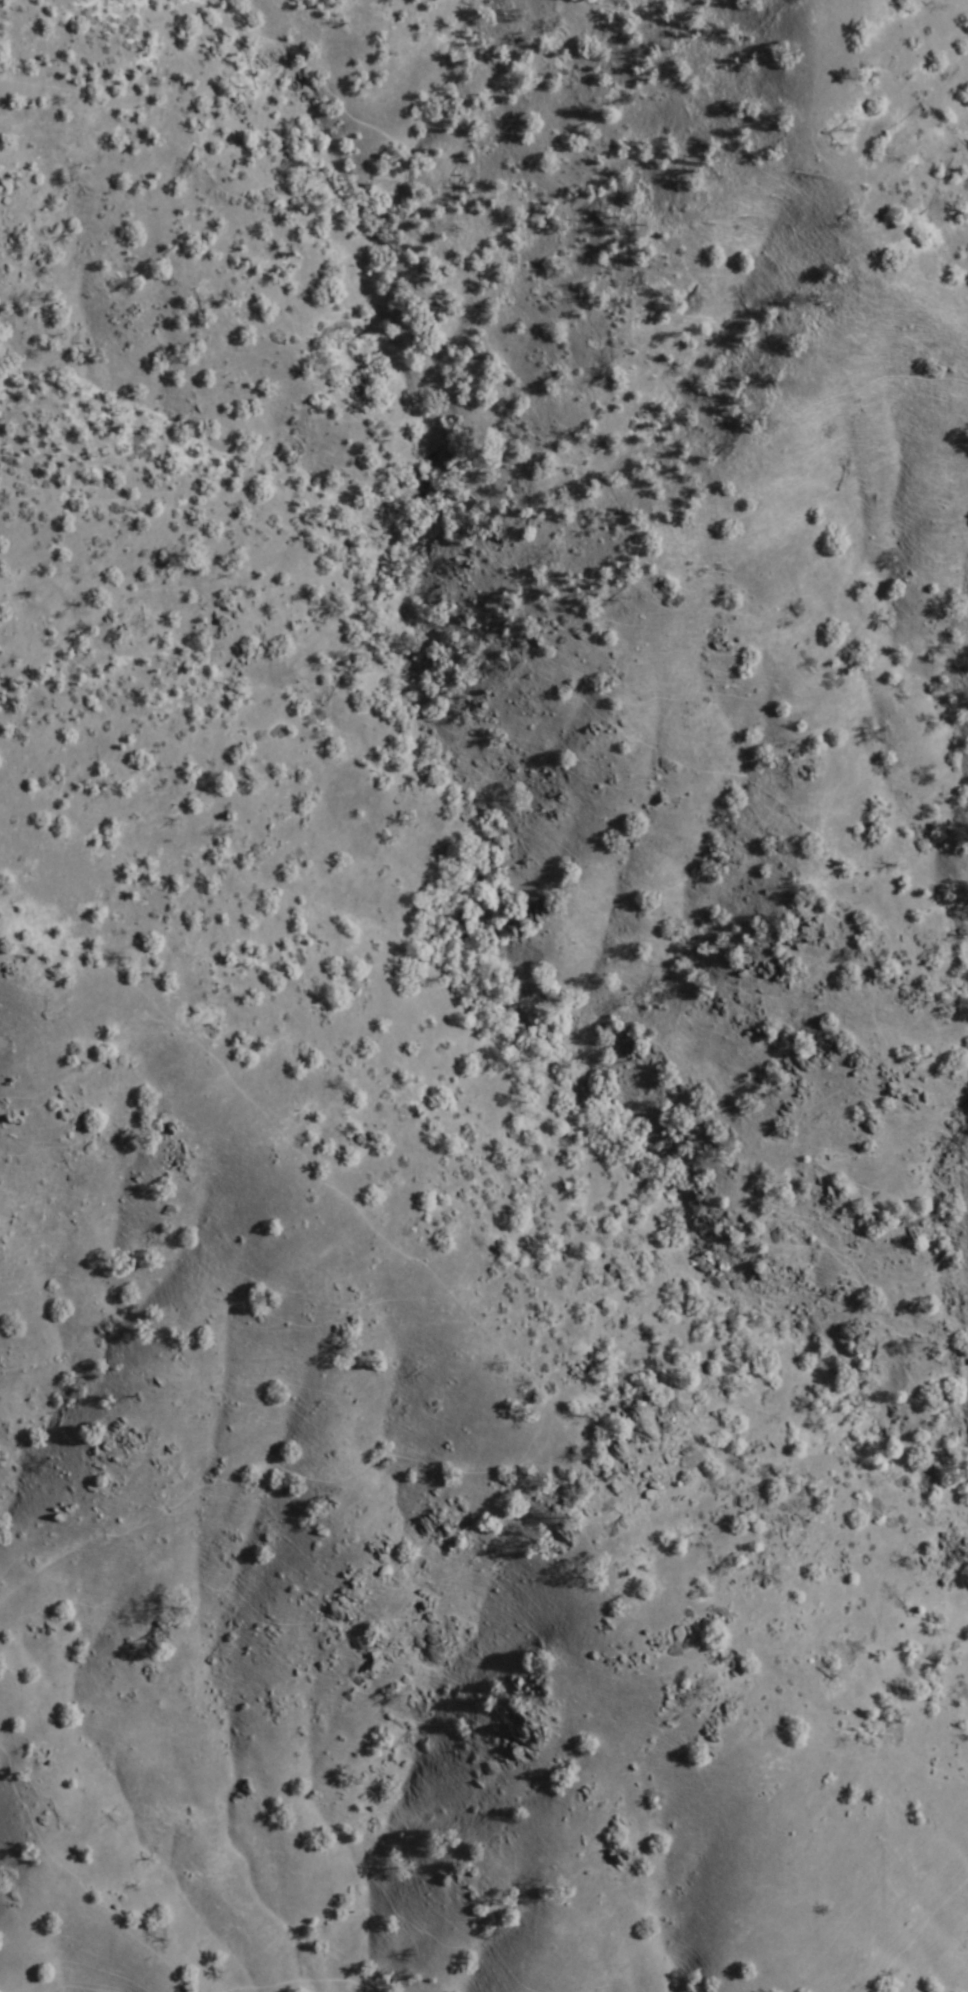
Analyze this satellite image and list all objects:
road: (918, 1932)
road: (291, 1980)
road: (86, 1987)

